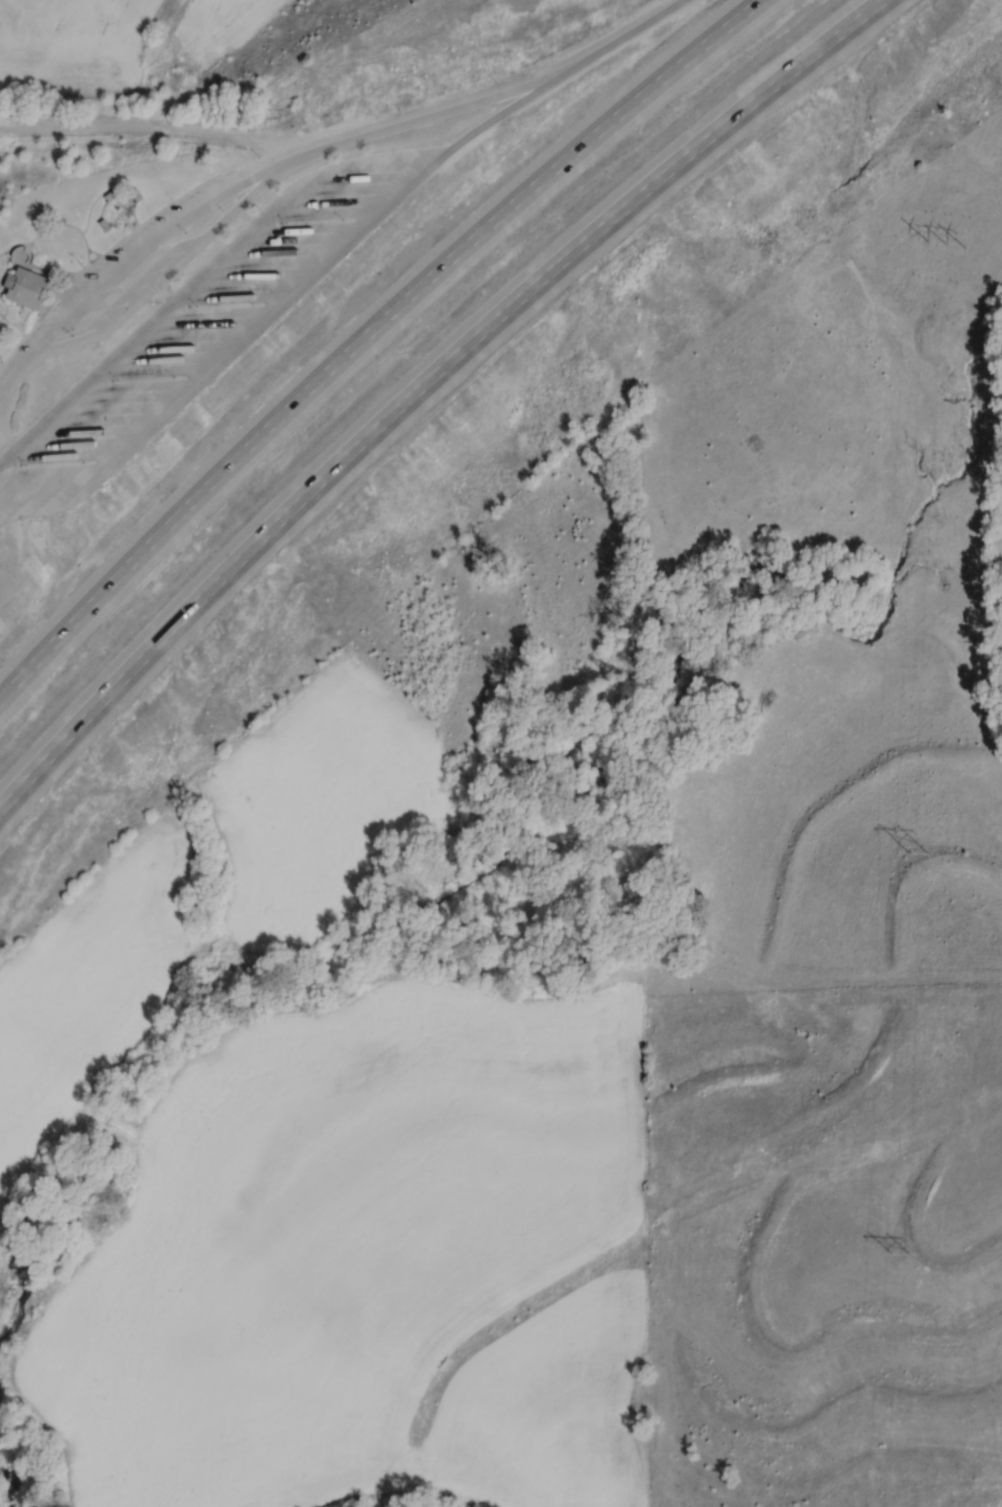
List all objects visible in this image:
road: (631, 30)
road: (513, 107)
road: (446, 109)
road: (156, 123)
road: (125, 202)
road: (119, 203)
road: (120, 212)
road: (56, 225)
road: (154, 237)
road: (12, 243)
power tower: (944, 250)
road: (162, 252)
road: (98, 256)
road: (87, 257)
road: (80, 263)
road: (50, 266)
road: (175, 269)
parking lot: (107, 272)
road: (203, 273)
building: (255, 273)
building: (21, 285)
road: (50, 286)
road: (38, 304)
road: (5, 307)
road: (23, 316)
road: (13, 323)
parking lot: (208, 324)
road: (364, 332)
road: (232, 352)
road: (14, 379)
road: (421, 384)
power tower: (918, 853)
power tower: (901, 1254)

